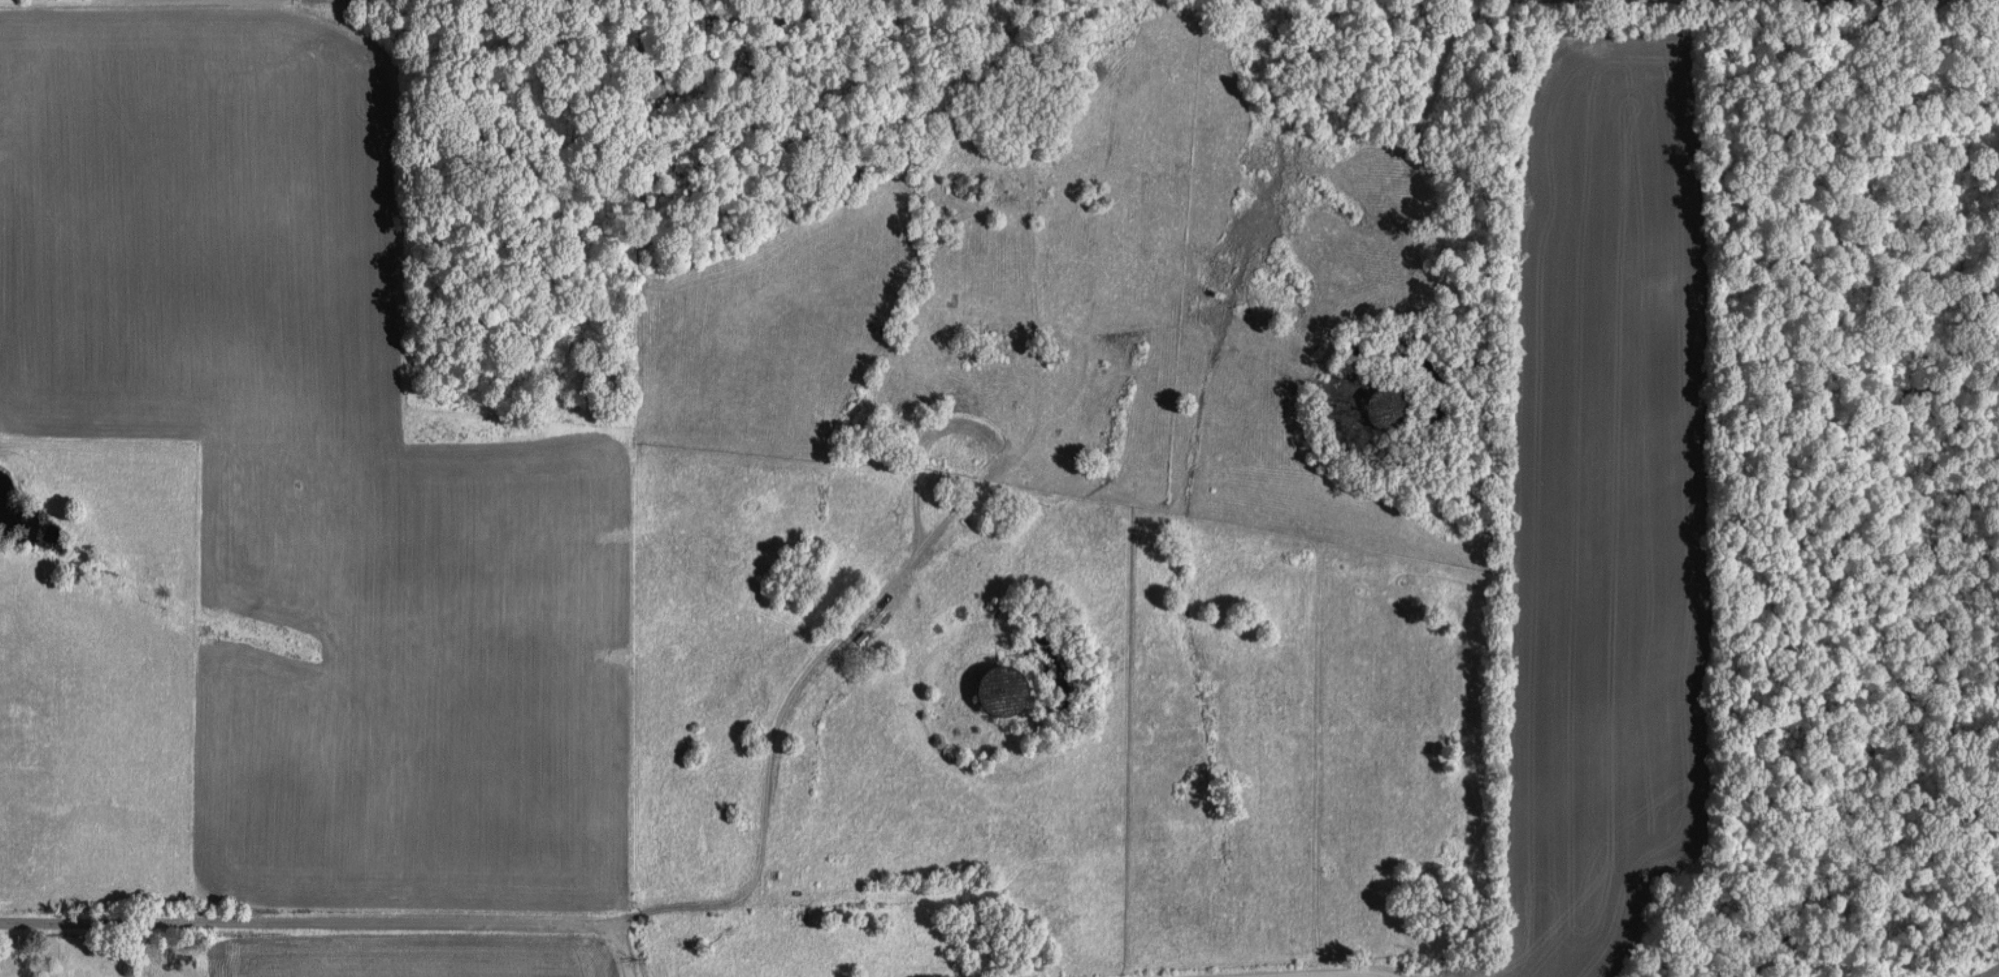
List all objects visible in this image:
road: (764, 808)
road: (306, 921)
road: (629, 951)

